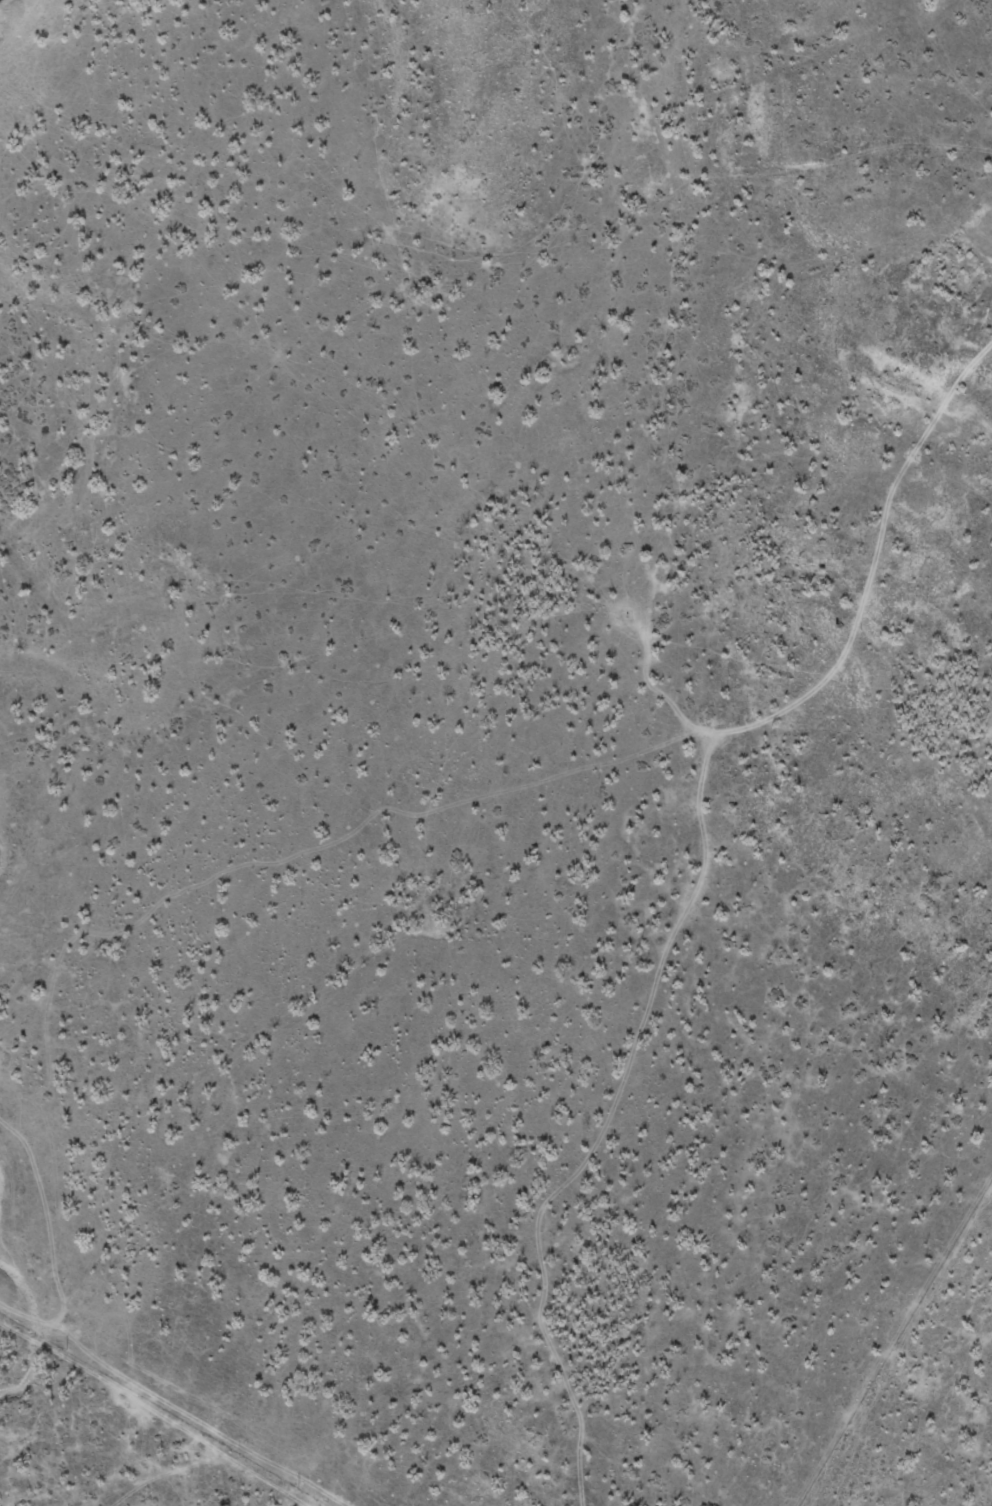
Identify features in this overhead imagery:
road: (730, 940)

